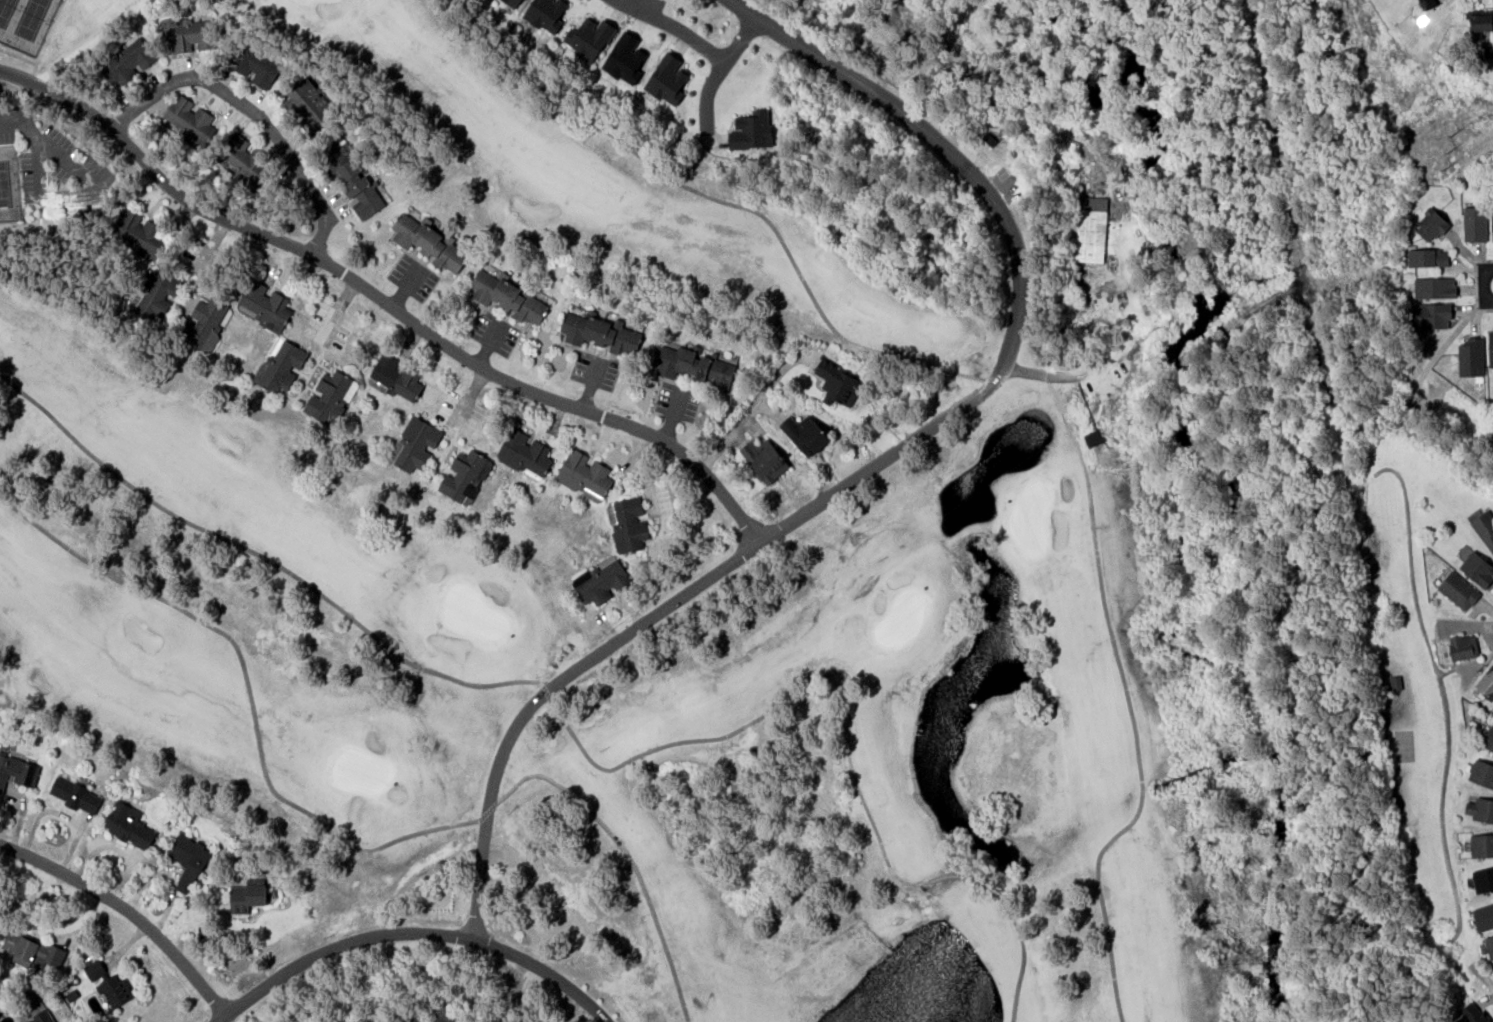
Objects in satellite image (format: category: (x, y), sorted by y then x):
building: (515, 2)
building: (1426, 3)
building: (545, 13)
building: (1480, 20)
road: (673, 24)
building: (188, 33)
building: (588, 38)
building: (624, 58)
building: (127, 60)
building: (257, 67)
road: (712, 68)
building: (667, 79)
building: (308, 105)
road: (253, 112)
building: (192, 123)
building: (751, 130)
building: (992, 134)
power tower: (1444, 150)
building: (242, 159)
building: (352, 178)
park: (8, 184)
building: (1431, 223)
building: (1473, 223)
building: (1491, 223)
building: (1088, 228)
building: (139, 232)
building: (428, 241)
building: (1427, 257)
road: (1481, 283)
building: (1433, 286)
building: (154, 292)
building: (507, 296)
road: (384, 303)
building: (263, 305)
building: (1430, 315)
building: (205, 323)
building: (599, 333)
building: (1490, 347)
building: (1470, 356)
building: (694, 365)
building: (282, 366)
building: (395, 377)
building: (839, 383)
building: (329, 397)
building: (805, 434)
building: (1093, 437)
building: (414, 443)
building: (524, 453)
building: (764, 459)
road: (882, 459)
building: (584, 473)
building: (464, 474)
building: (591, 495)
park: (575, 517)
building: (627, 523)
building: (1483, 529)
building: (1477, 568)
building: (601, 582)
building: (1458, 589)
building: (1461, 646)
building: (1485, 682)
building: (1488, 738)
building: (17, 771)
building: (1481, 772)
building: (74, 794)
building: (1480, 809)
building: (128, 824)
building: (1481, 845)
building: (188, 859)
building: (1482, 879)
road: (128, 909)
building: (1483, 916)
road: (414, 931)
building: (1489, 945)
building: (30, 950)
building: (94, 968)
building: (114, 989)
building: (1473, 1012)
building: (443, 1014)
building: (43, 1018)
road: (226, 1020)

